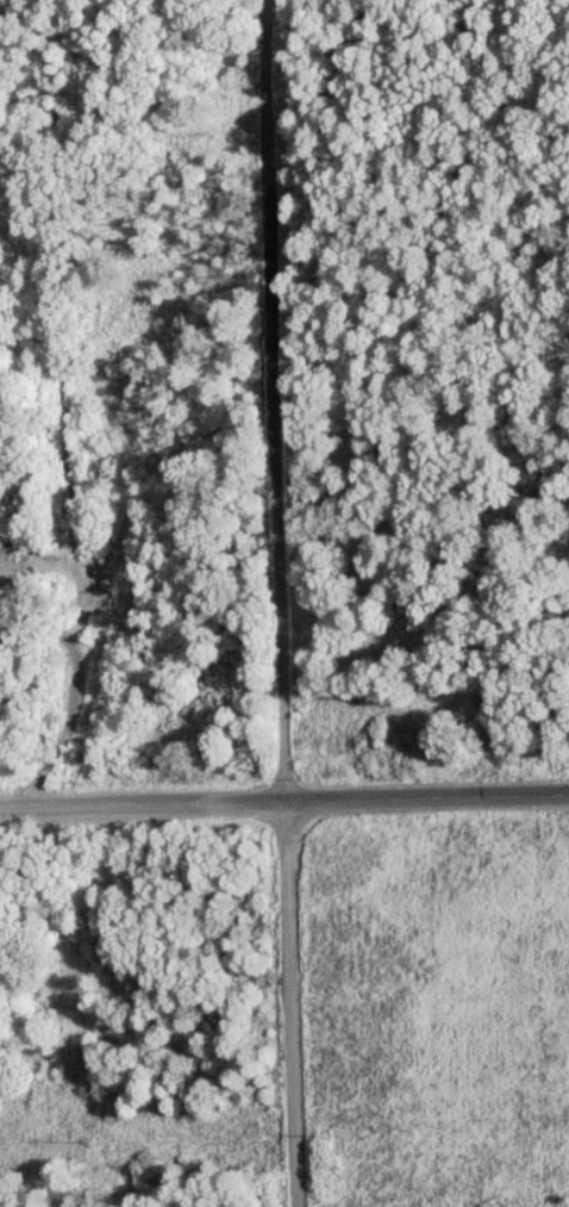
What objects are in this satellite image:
road: (267, 403)
road: (424, 801)
road: (139, 809)
road: (283, 1007)

